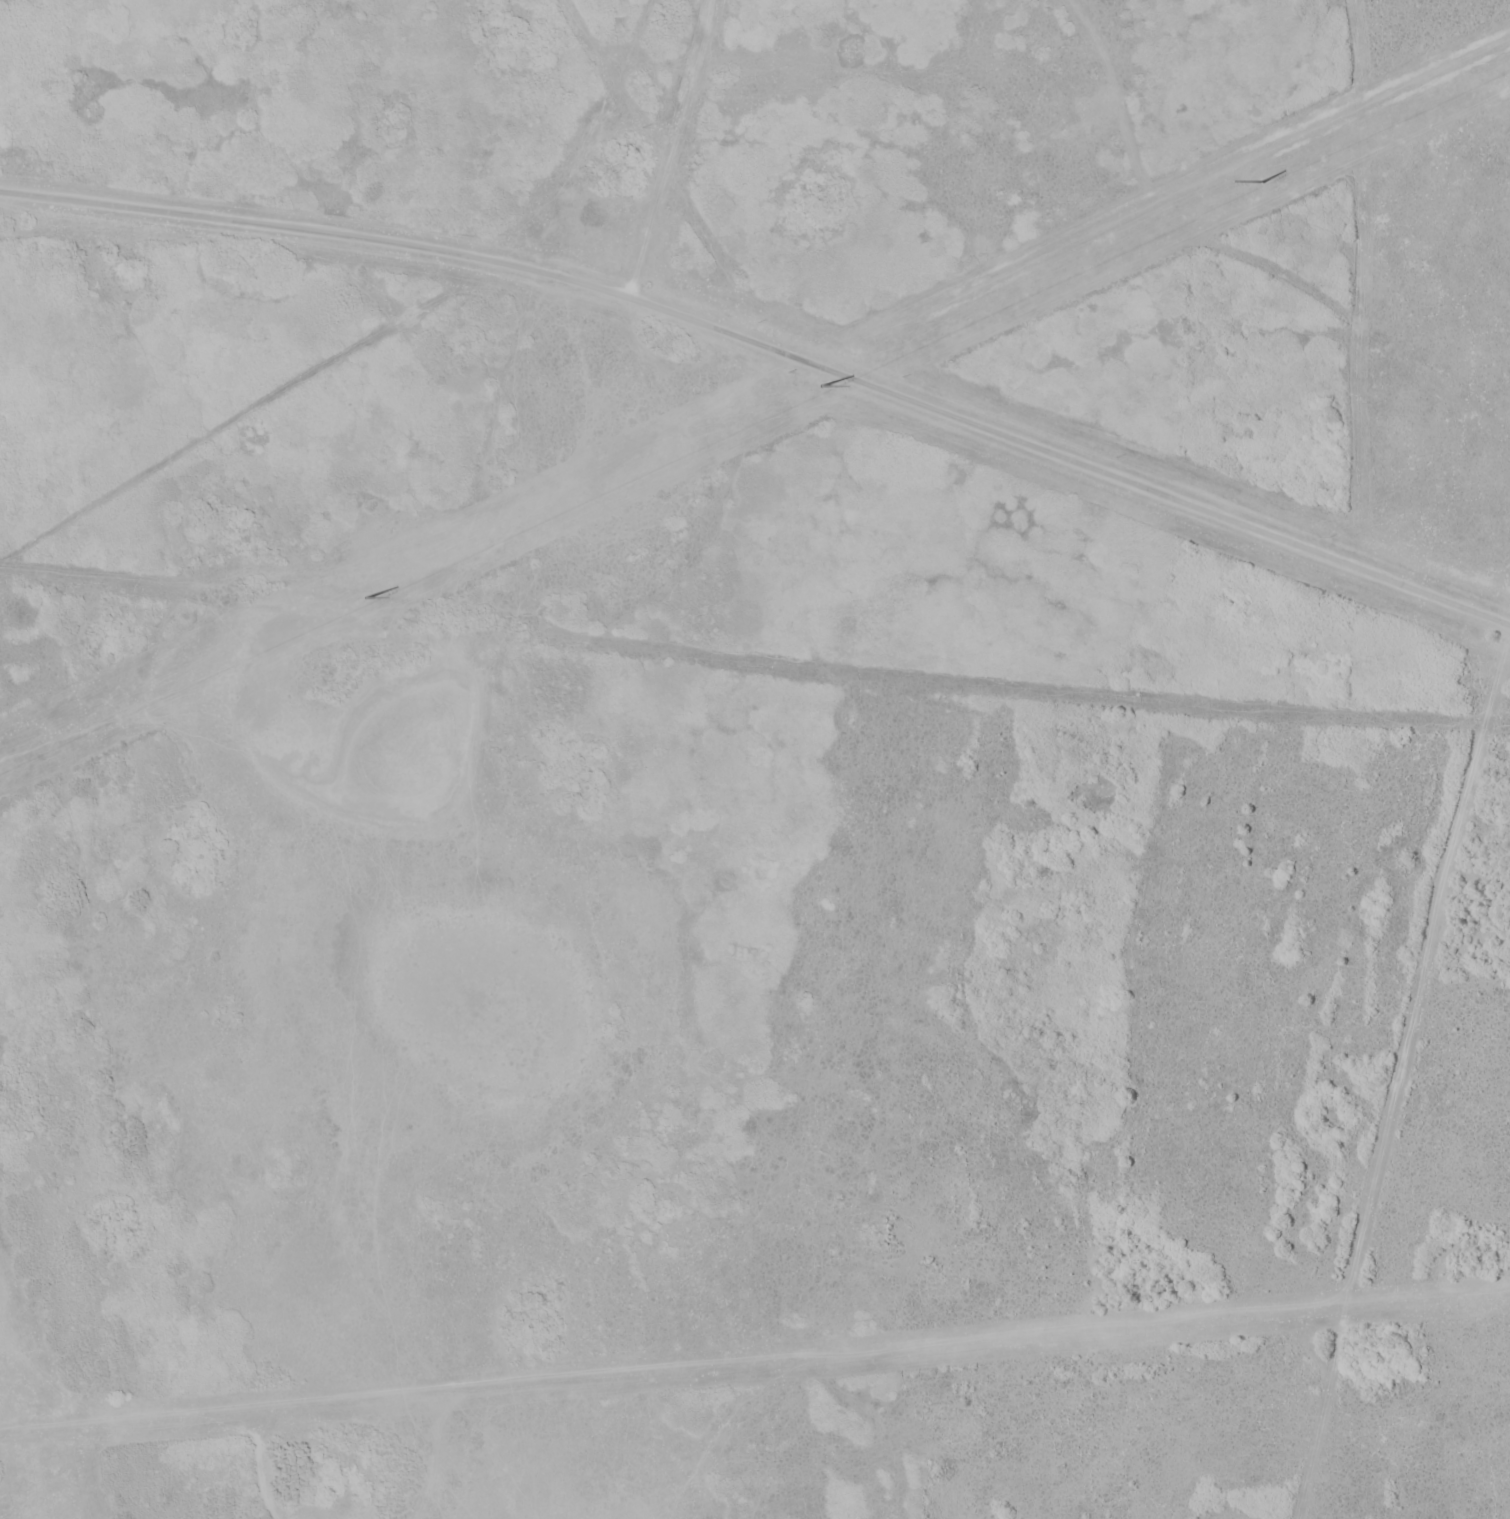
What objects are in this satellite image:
power tower: (1262, 182)
road: (769, 346)
power tower: (818, 385)
power tower: (365, 596)

